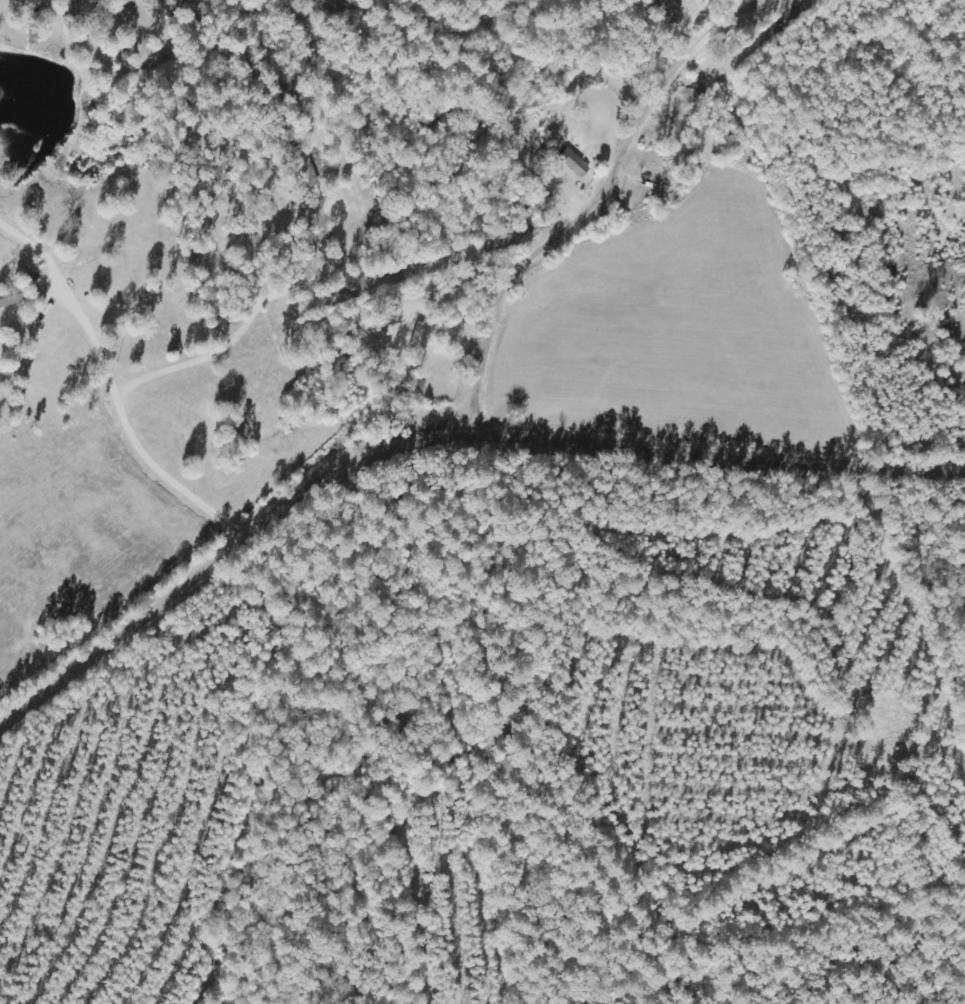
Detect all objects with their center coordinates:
road: (563, 155)
building: (572, 166)
road: (442, 443)

